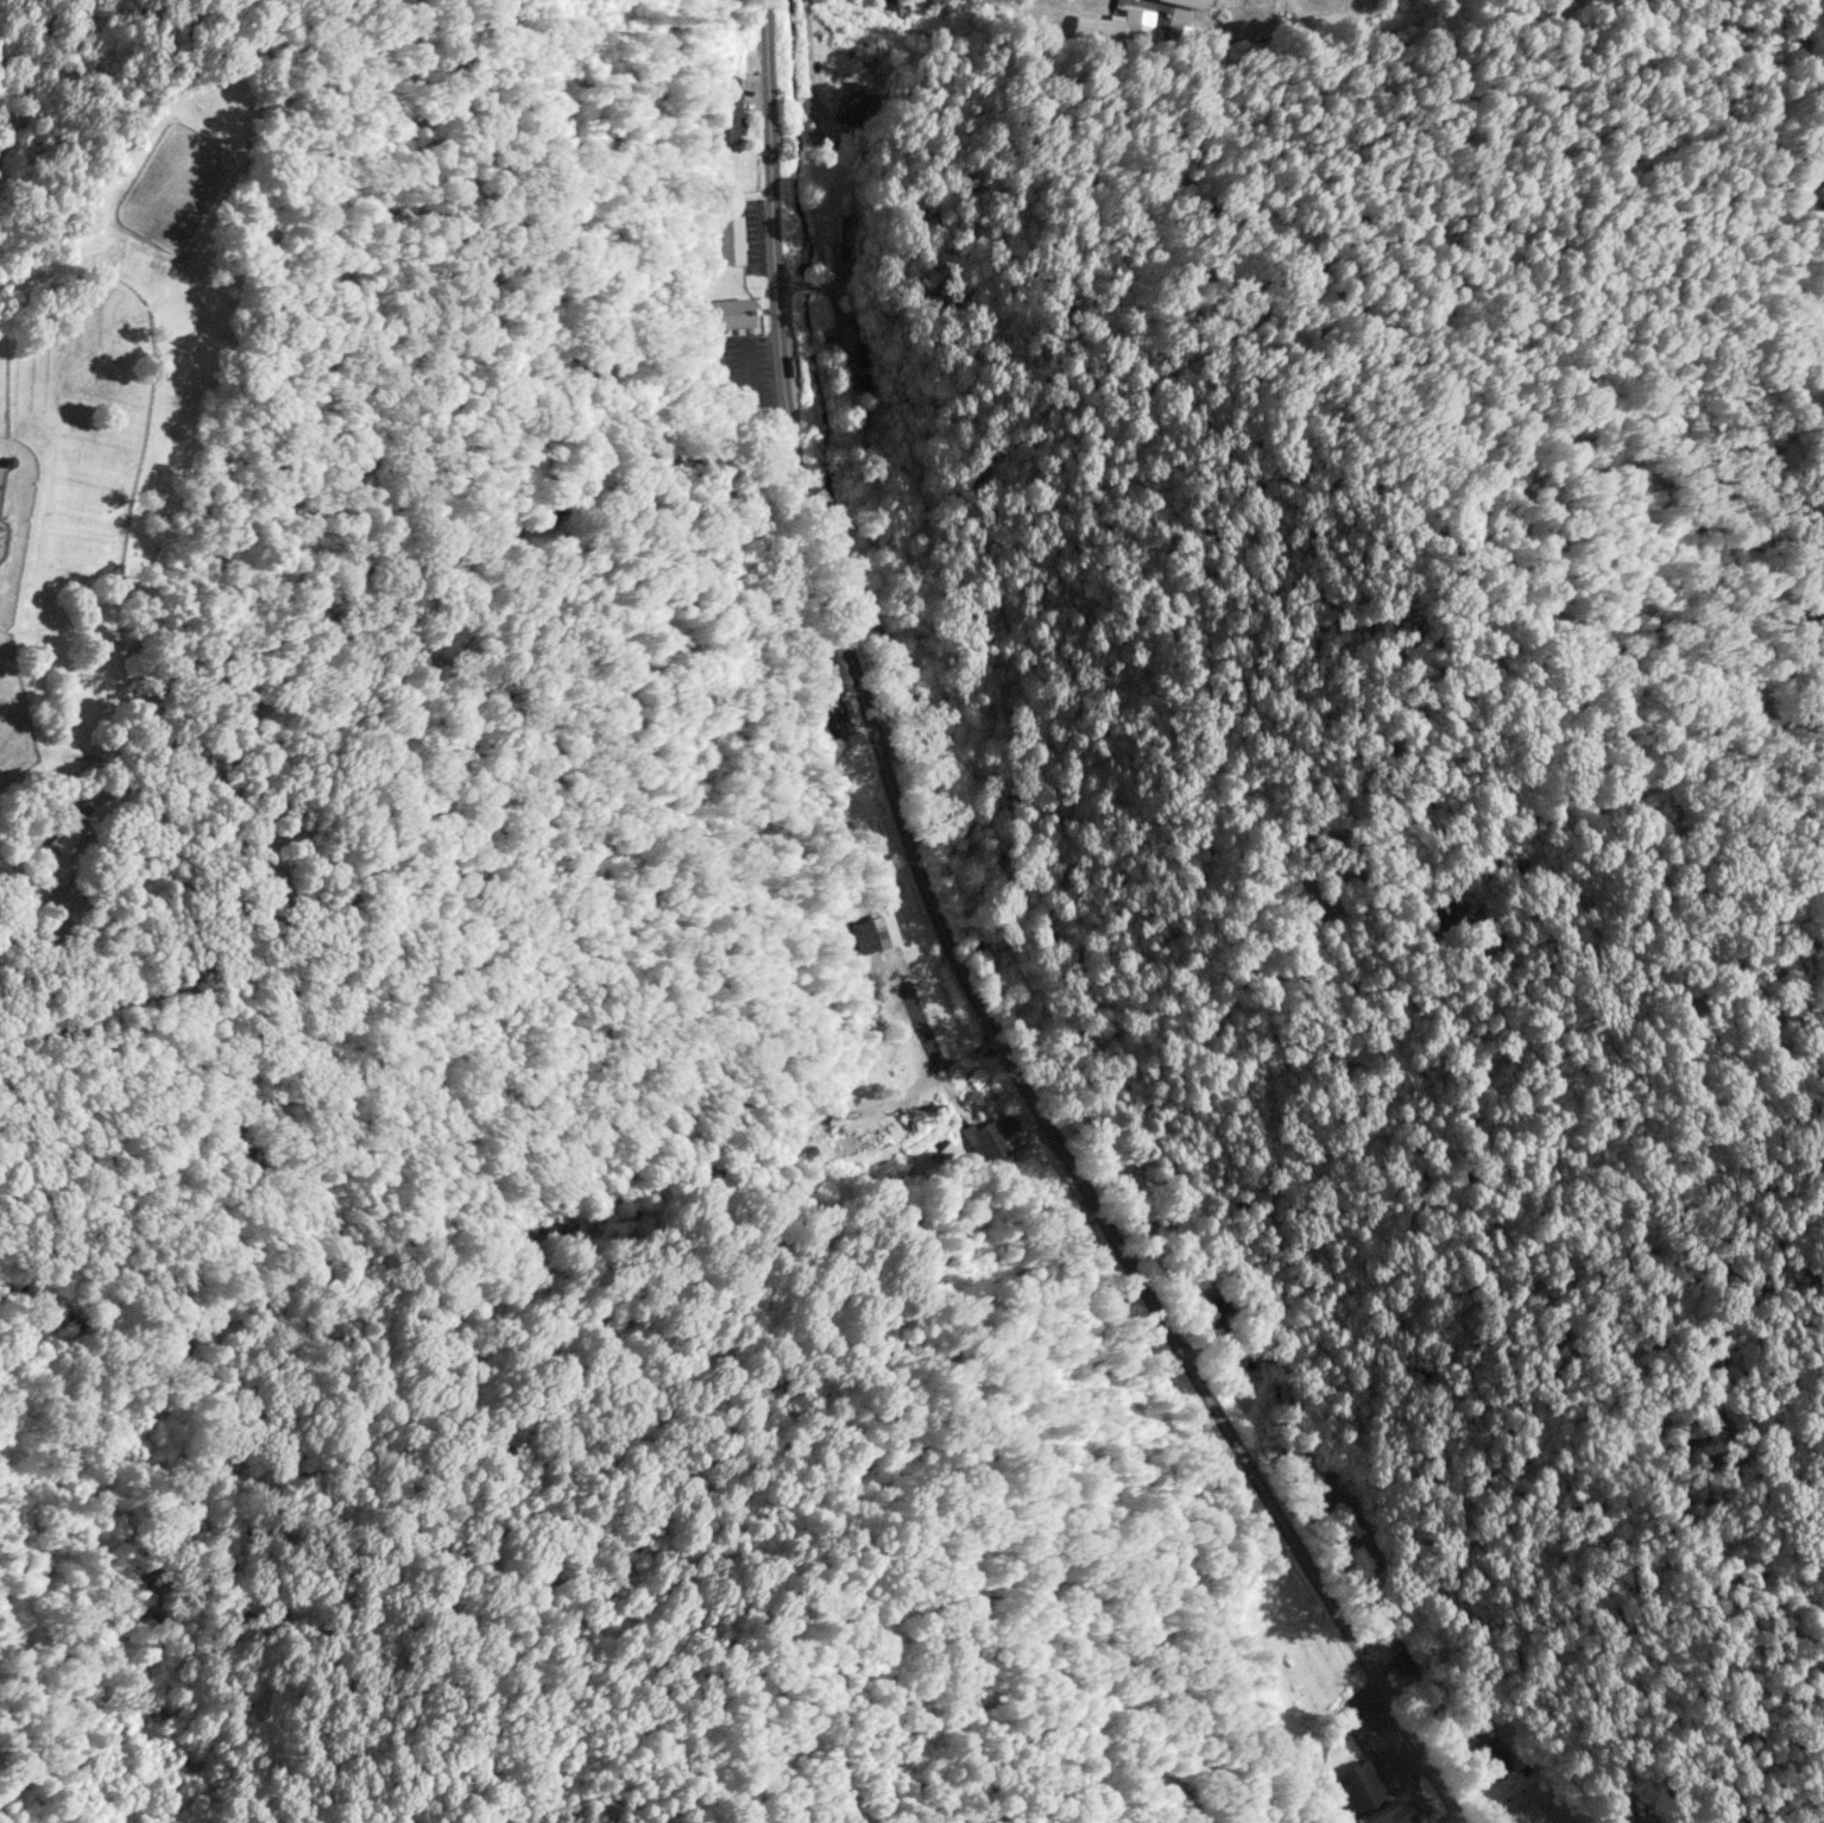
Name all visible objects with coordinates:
building: (1187, 4)
road: (1163, 8)
building: (1119, 27)
building: (852, 102)
building: (728, 116)
building: (727, 240)
building: (725, 314)
building: (864, 387)
building: (828, 715)
building: (65, 834)
building: (881, 931)
road: (961, 964)
building: (990, 1138)
building: (943, 1148)
building: (1399, 1660)
building: (1491, 1759)
building: (1364, 1797)

